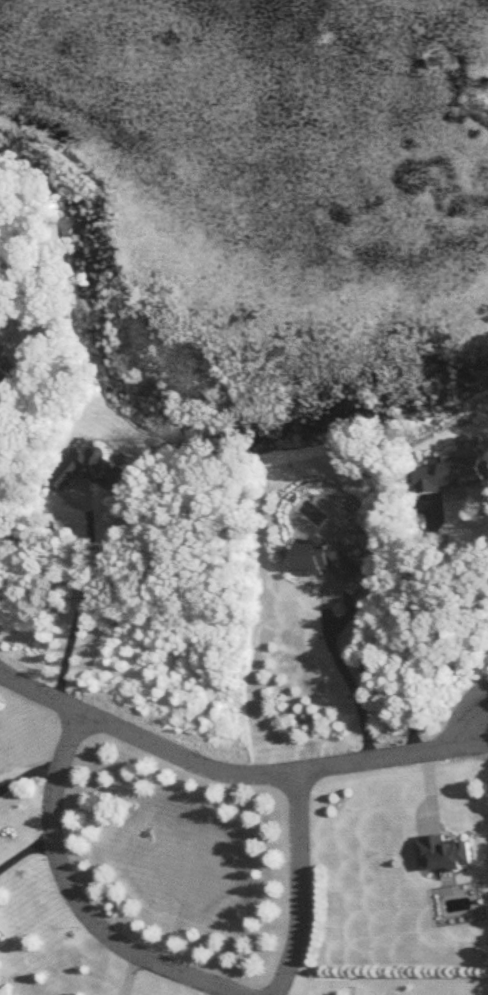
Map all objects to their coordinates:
building: (1, 348)
building: (0, 360)
building: (4, 375)
building: (92, 467)
building: (452, 469)
building: (325, 557)
road: (81, 601)
road: (408, 630)
road: (350, 681)
road: (241, 776)
road: (25, 849)
building: (443, 849)
road: (300, 884)
road: (70, 895)
building: (0, 937)
building: (0, 939)

